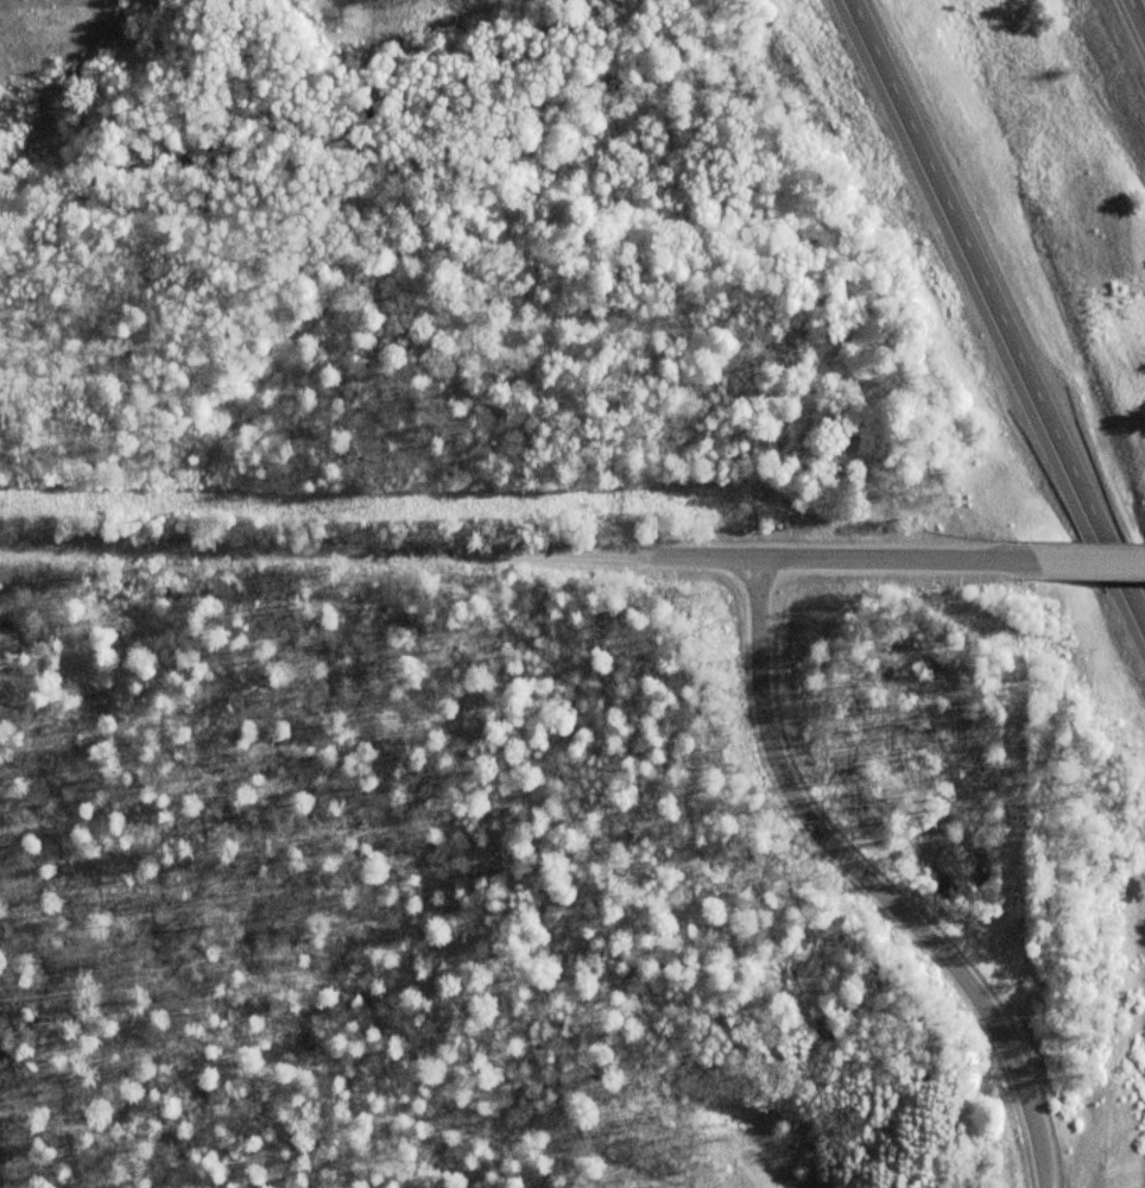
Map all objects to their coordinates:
road: (998, 308)
road: (197, 552)
road: (1087, 557)
road: (711, 558)
road: (868, 884)

